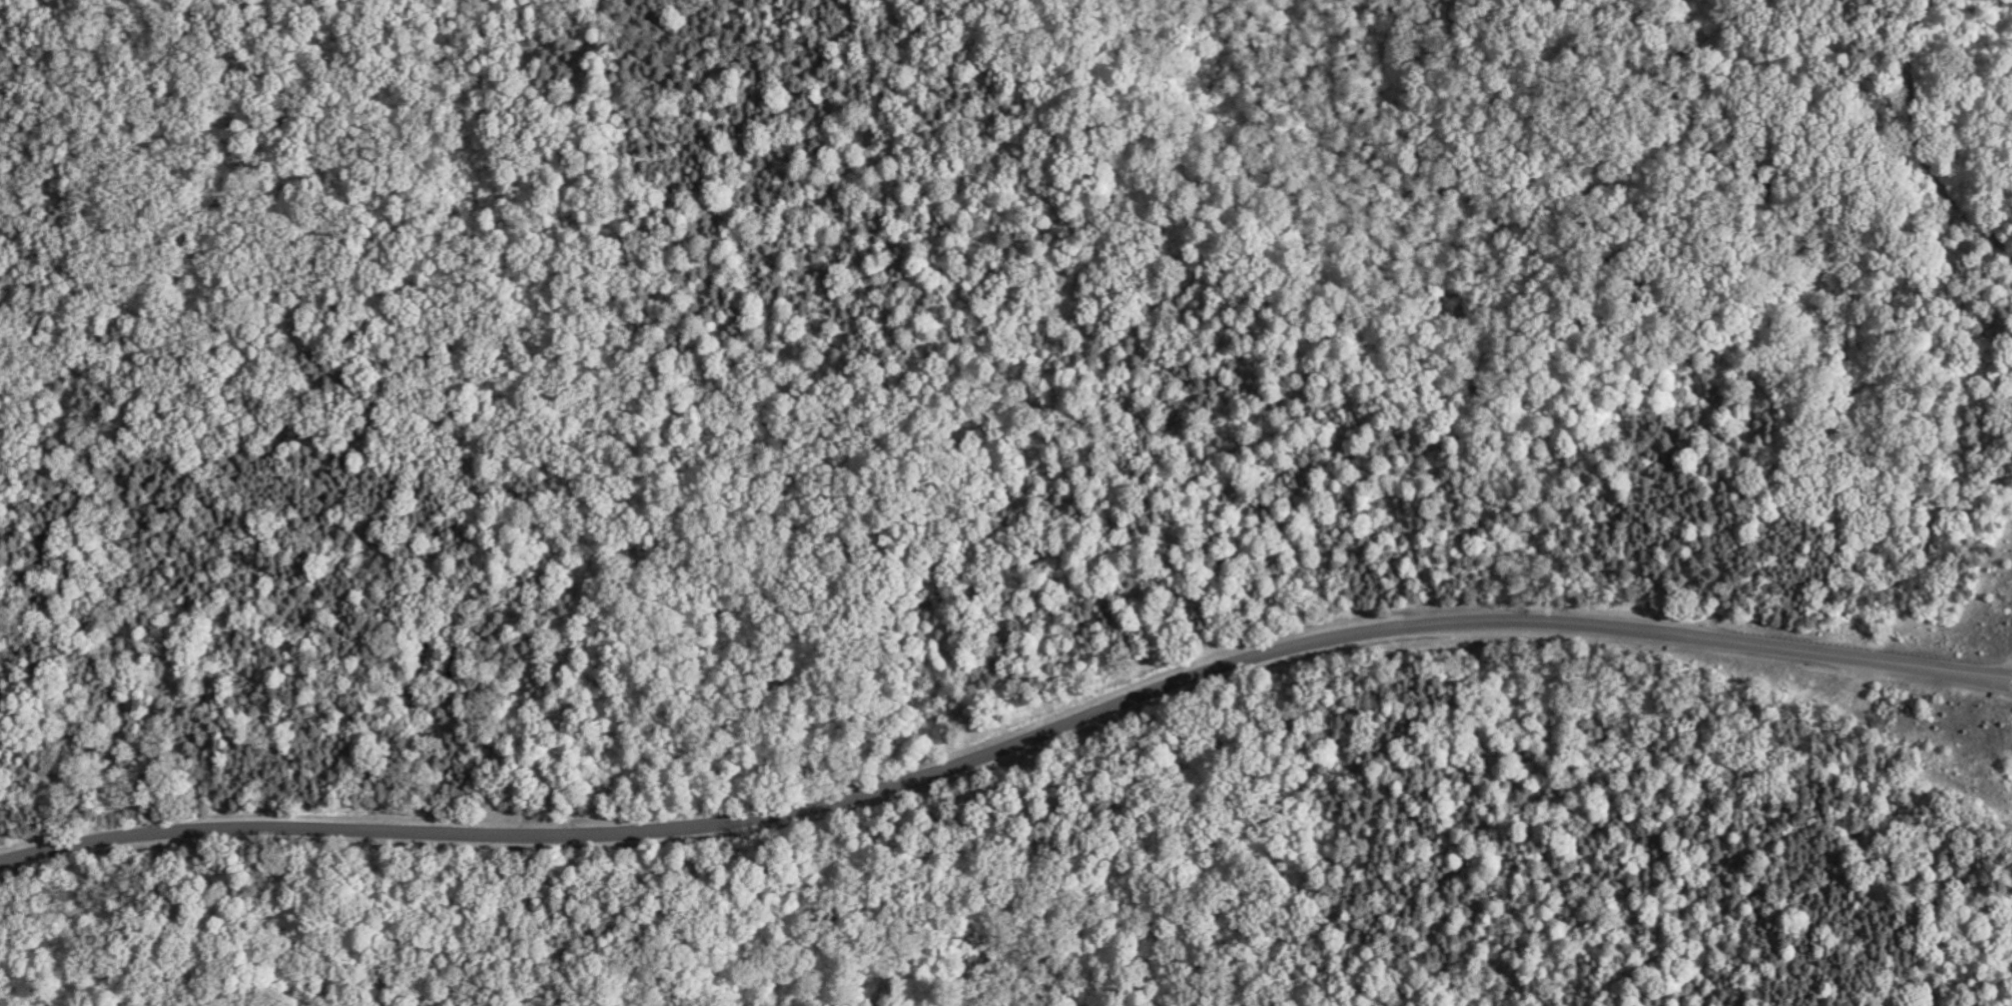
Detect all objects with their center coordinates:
road: (1922, 140)
road: (1009, 749)
road: (125, 964)

